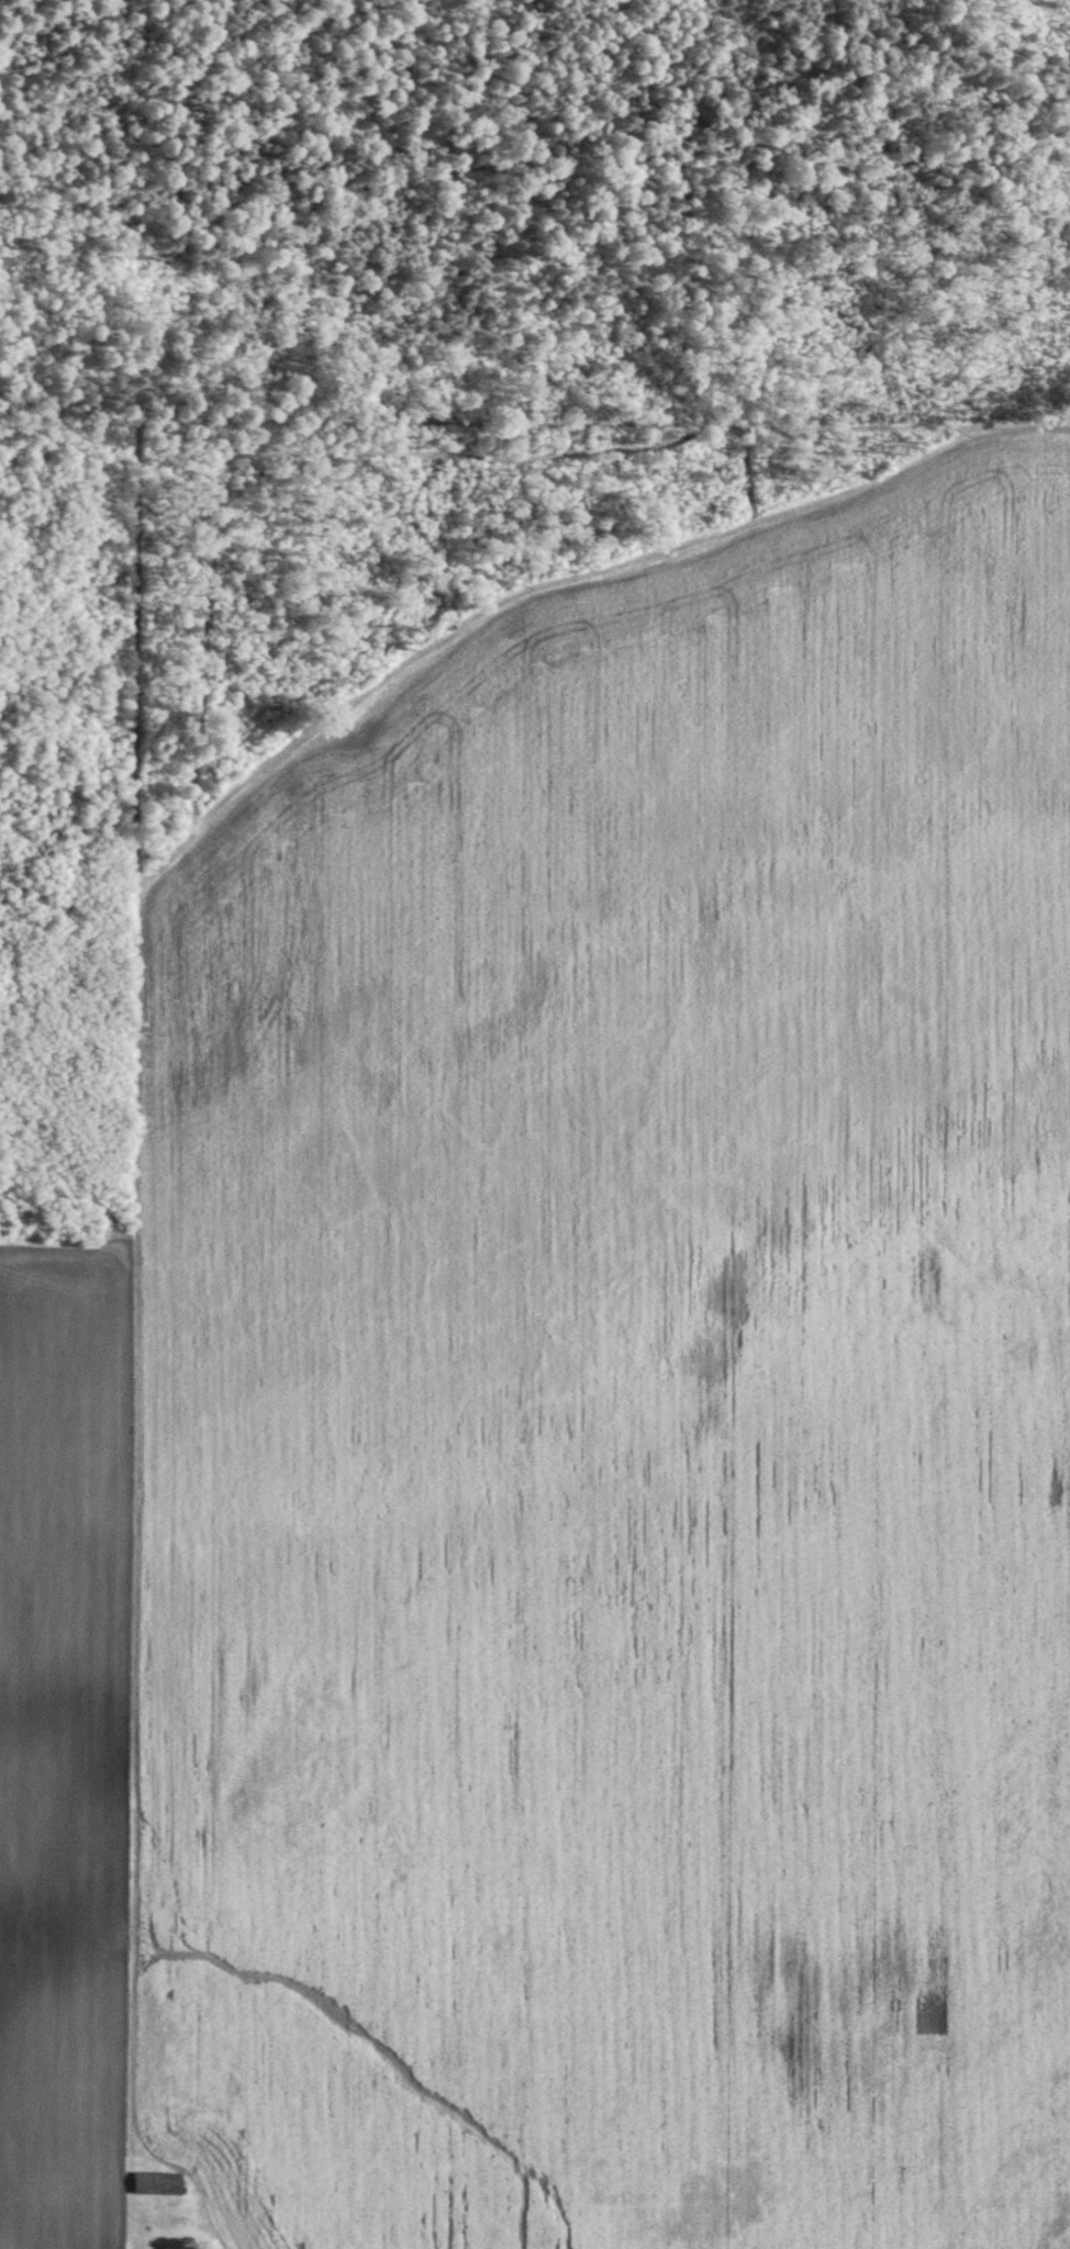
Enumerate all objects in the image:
building: (158, 2183)

